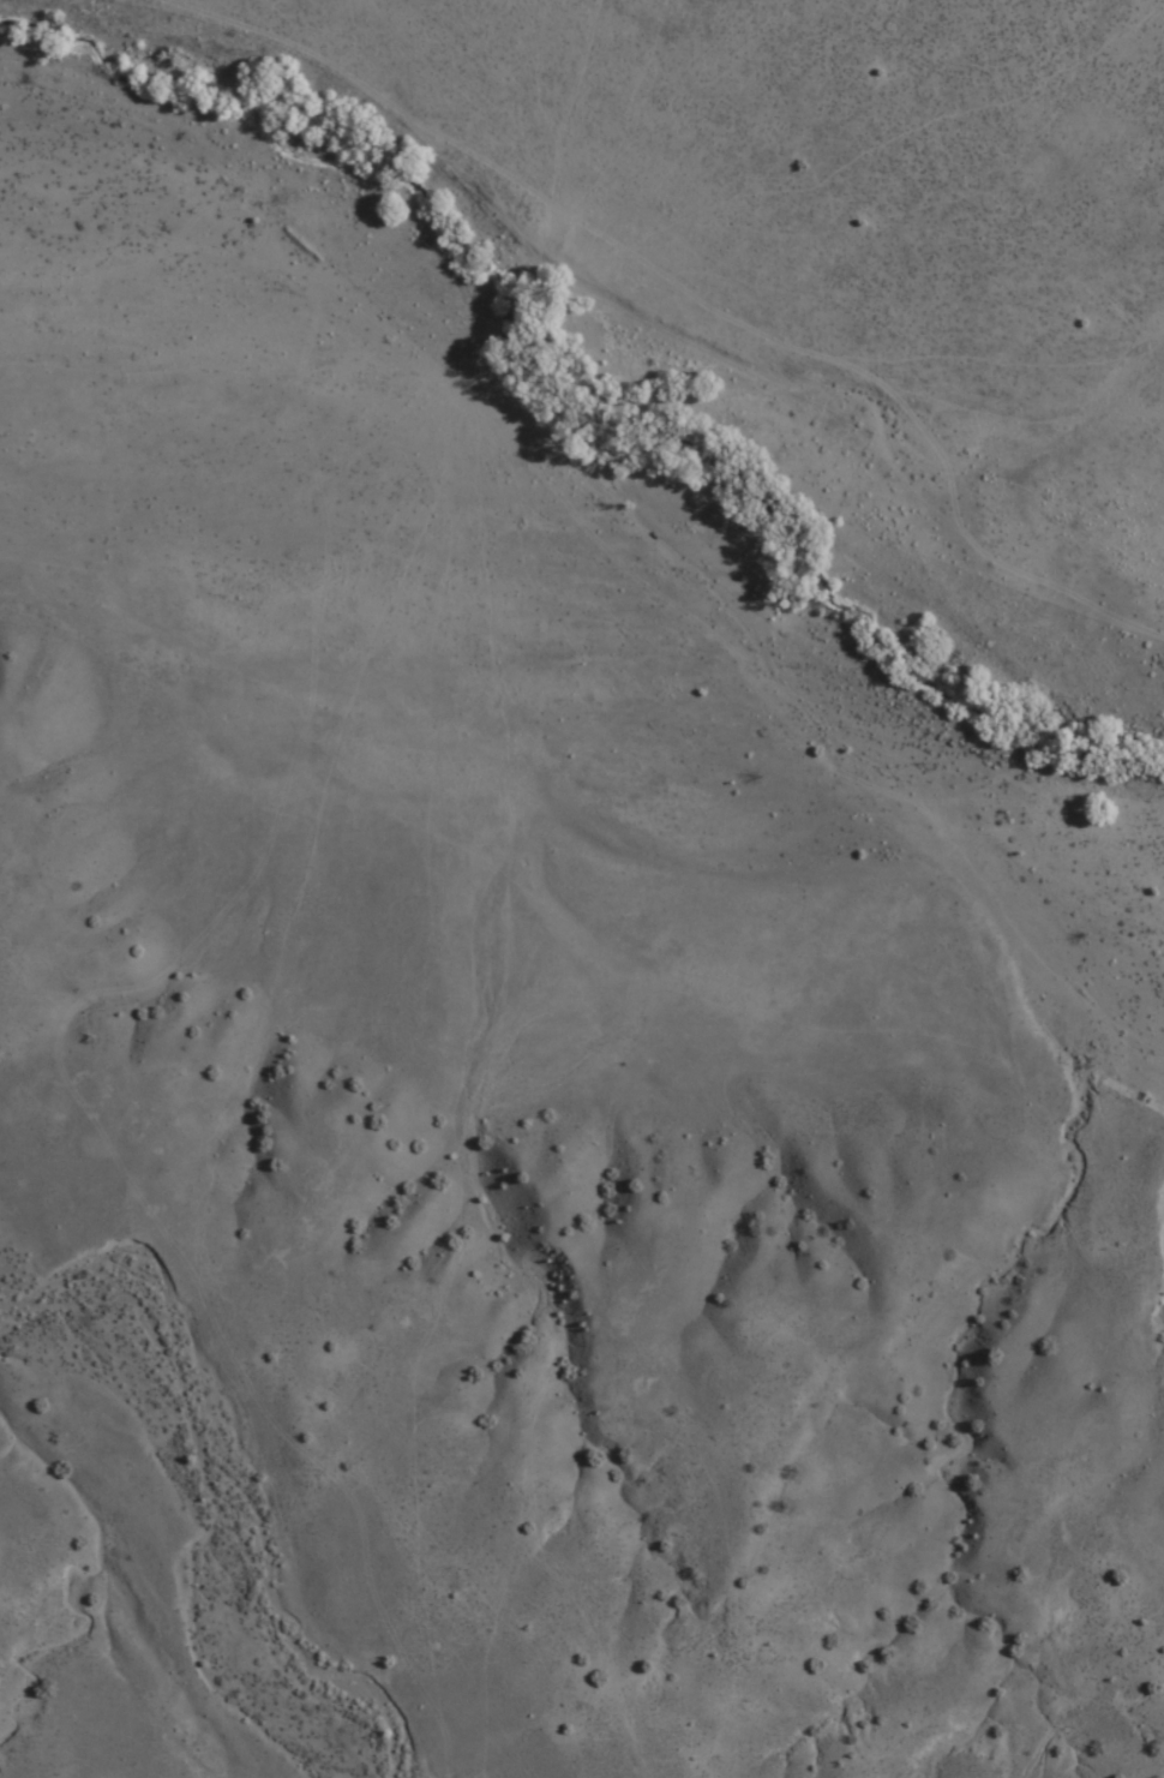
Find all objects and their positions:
river: (582, 370)

